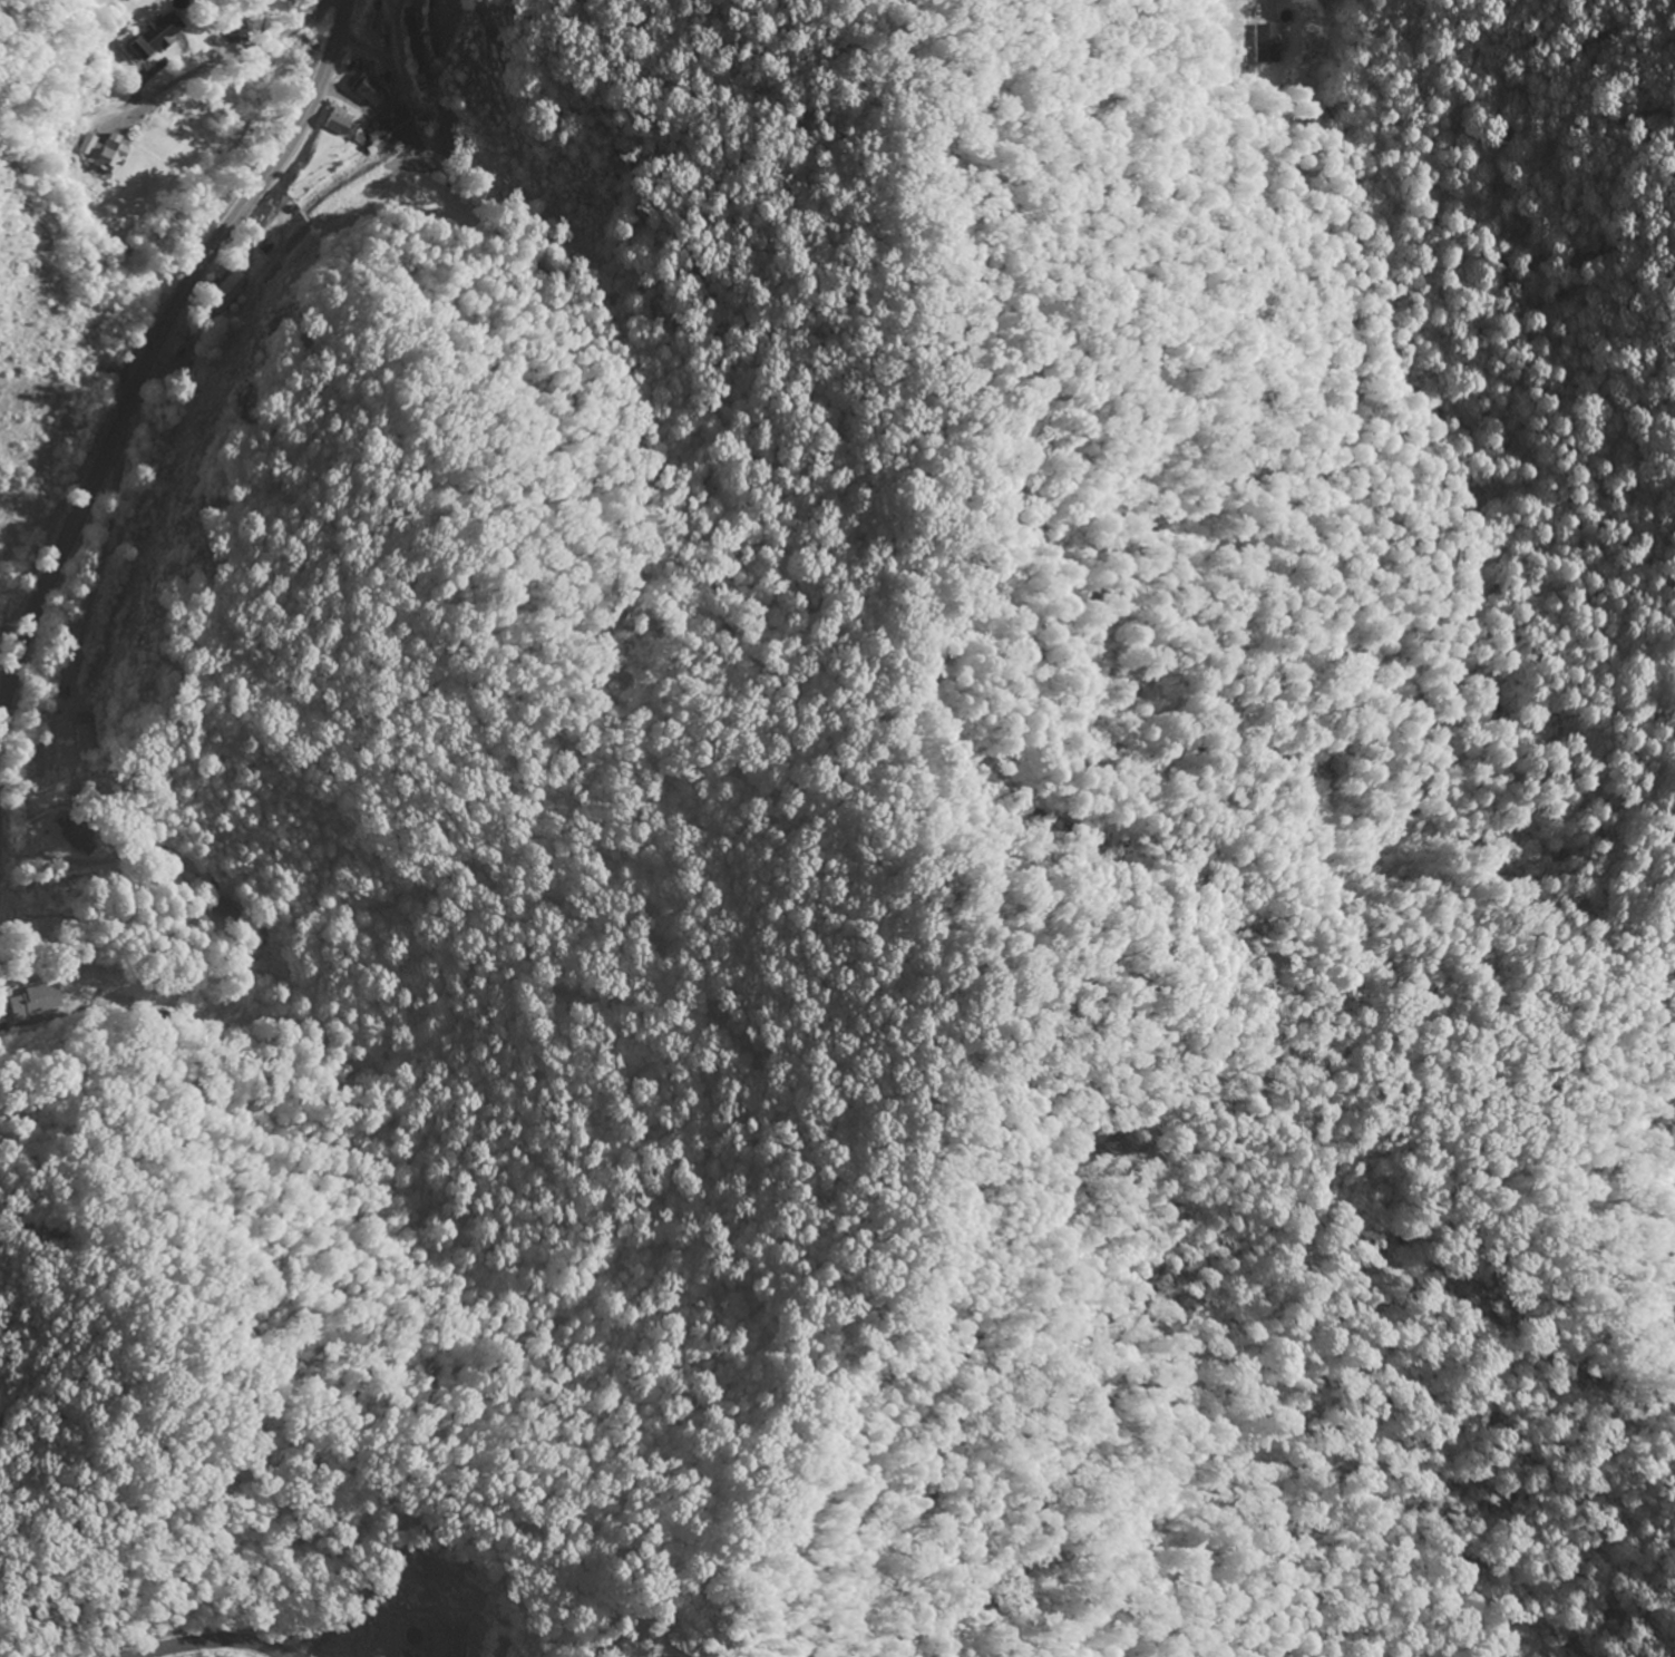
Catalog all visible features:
building: (153, 37)
building: (410, 43)
building: (1267, 43)
building: (364, 91)
building: (391, 120)
building: (335, 123)
building: (373, 144)
building: (104, 153)
road: (150, 350)
road: (212, 1643)
building: (400, 1655)

